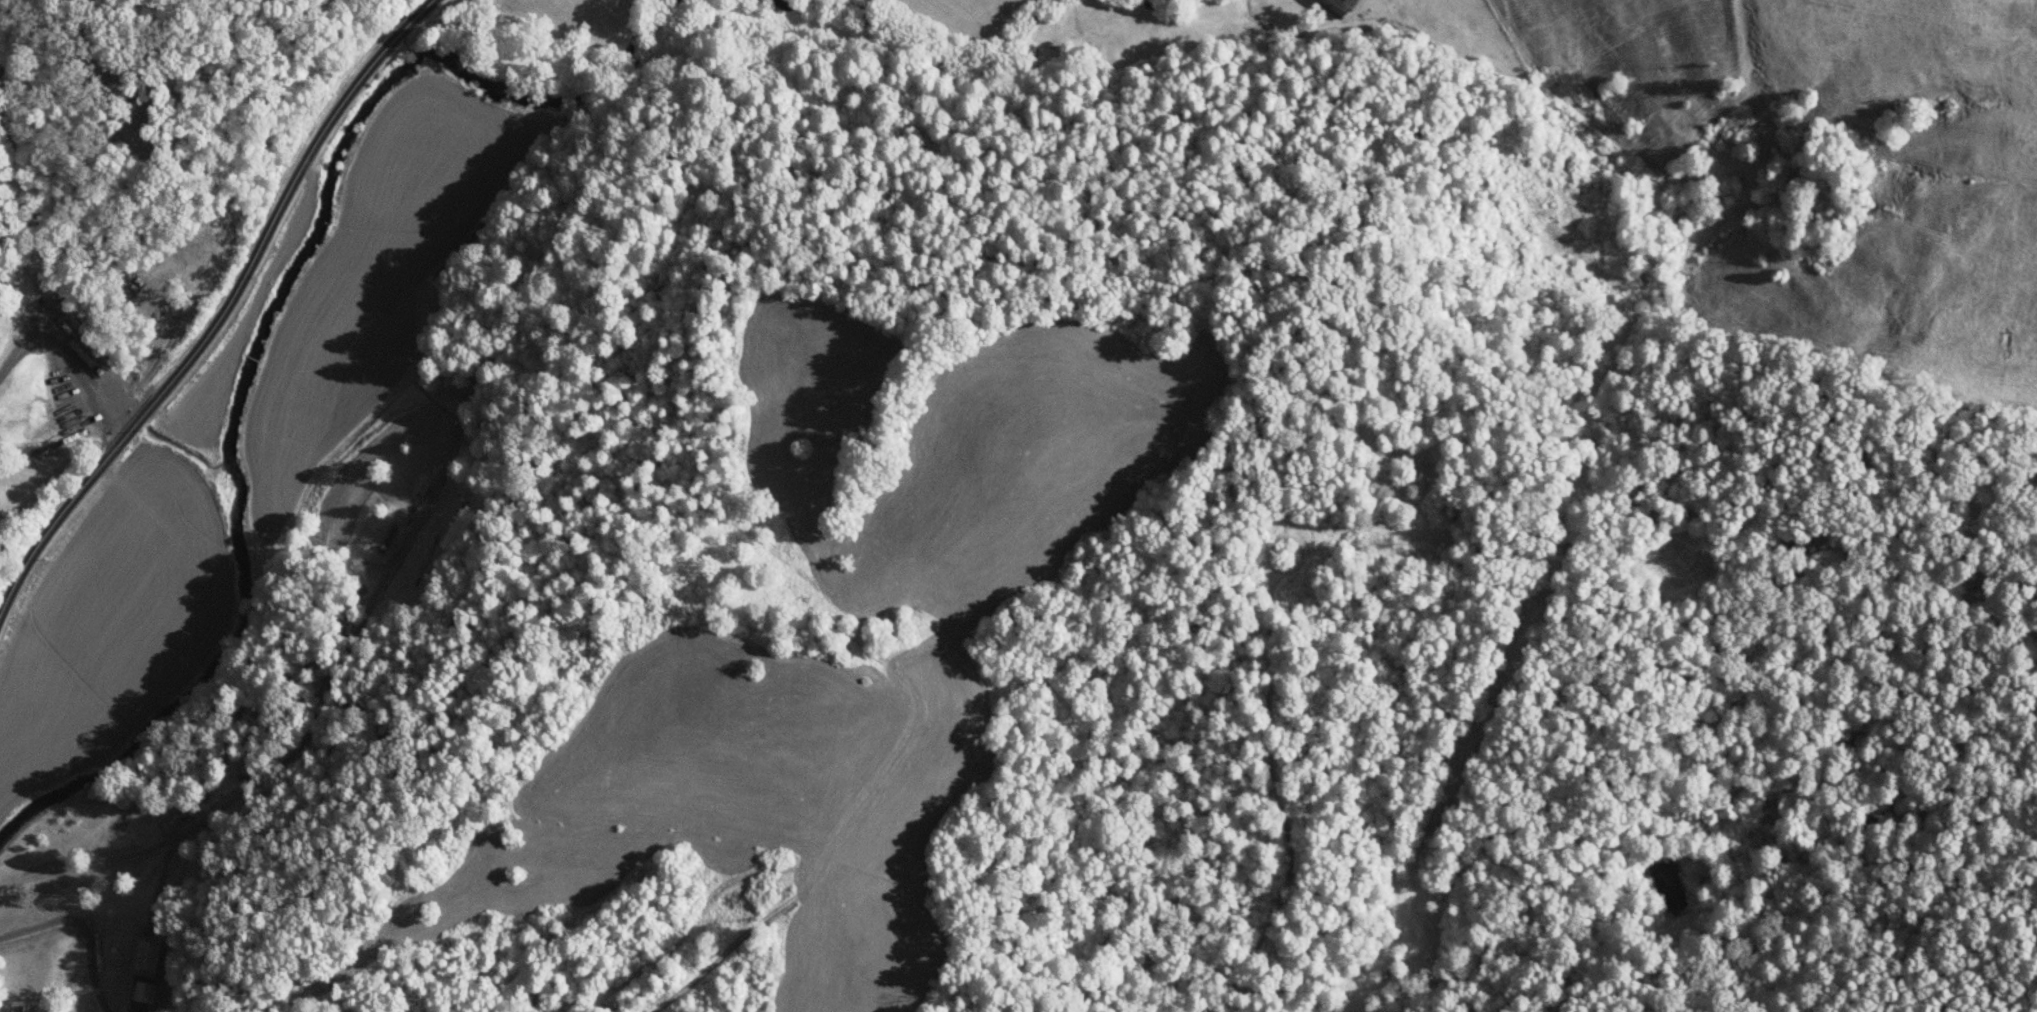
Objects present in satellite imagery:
road: (220, 305)
building: (136, 958)
building: (137, 990)

